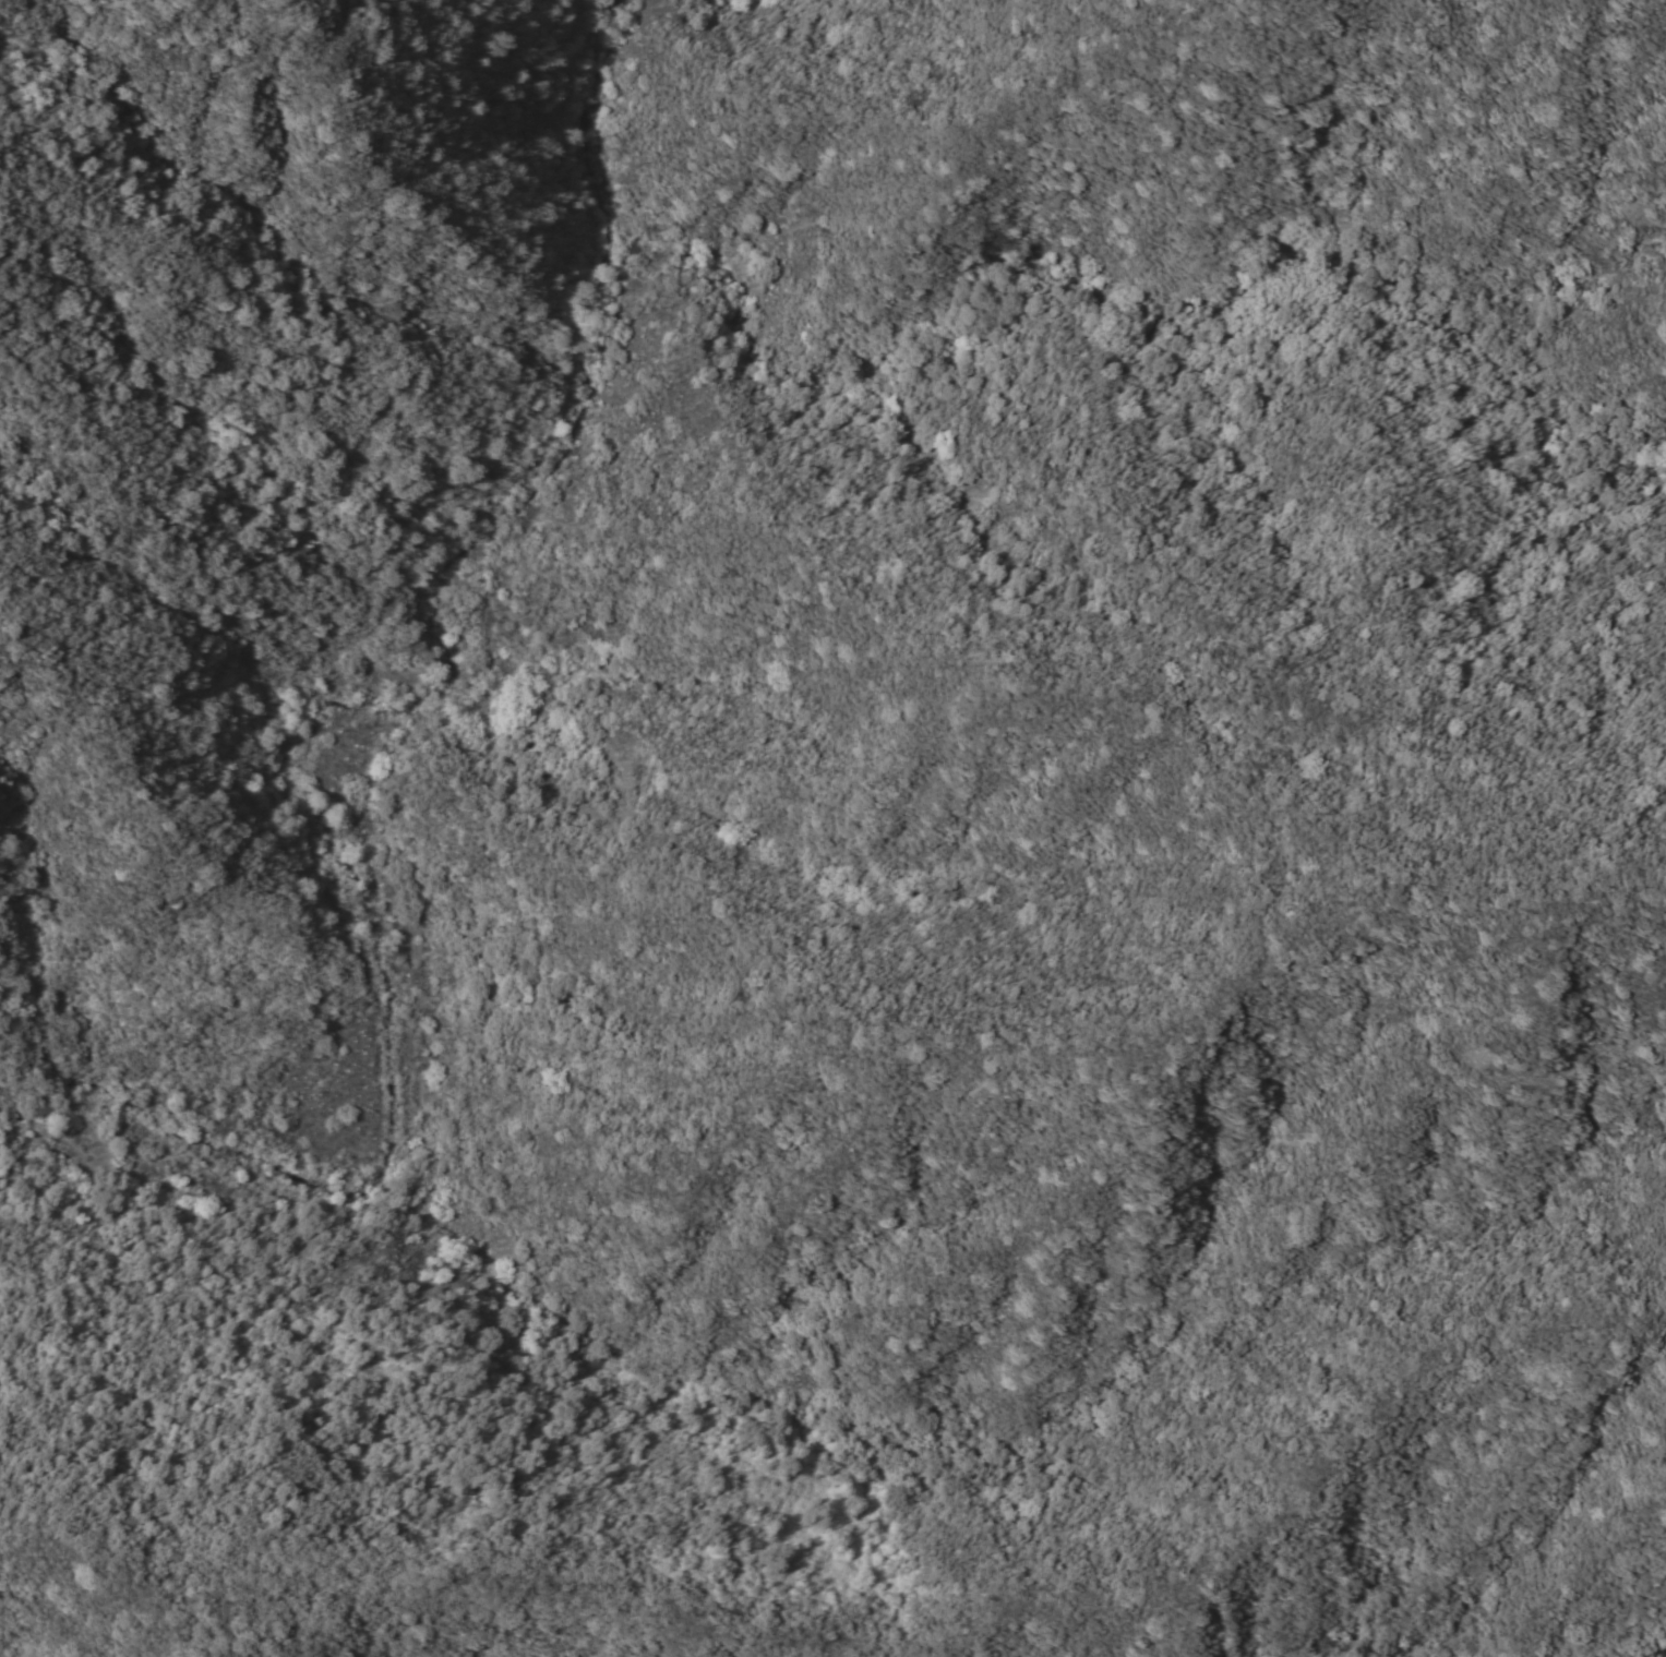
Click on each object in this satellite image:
road: (14, 0)
road: (182, 0)
road: (1279, 226)
road: (1215, 916)

